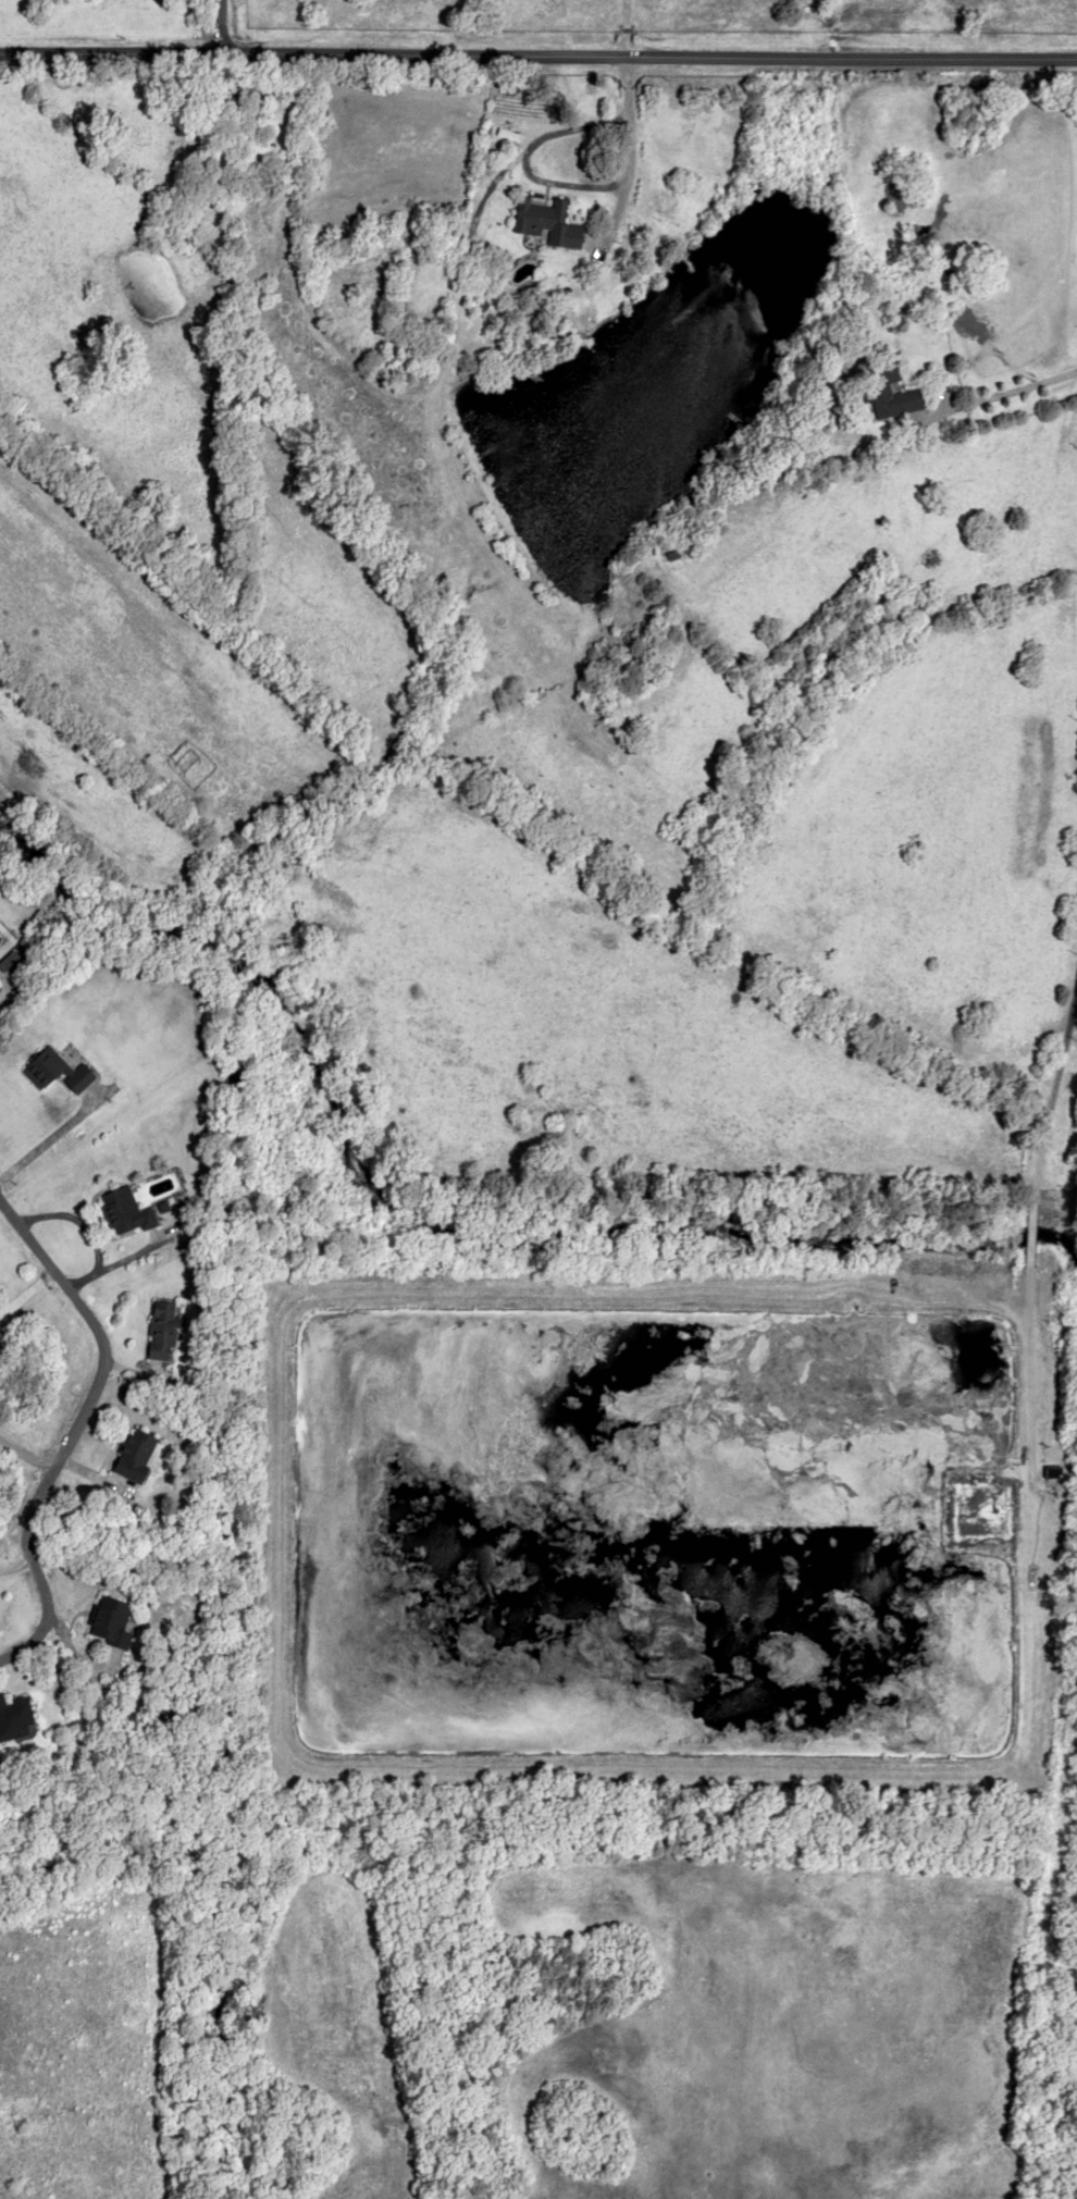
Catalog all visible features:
road: (215, 26)
road: (537, 52)
building: (268, 95)
road: (629, 121)
building: (250, 149)
building: (546, 222)
building: (890, 388)
building: (55, 1072)
road: (54, 1135)
road: (1028, 1207)
building: (124, 1211)
road: (106, 1265)
building: (161, 1330)
road: (70, 1431)
building: (134, 1454)
building: (1052, 1471)
building: (692, 1511)
building: (109, 1620)
building: (14, 1718)
building: (163, 1721)

